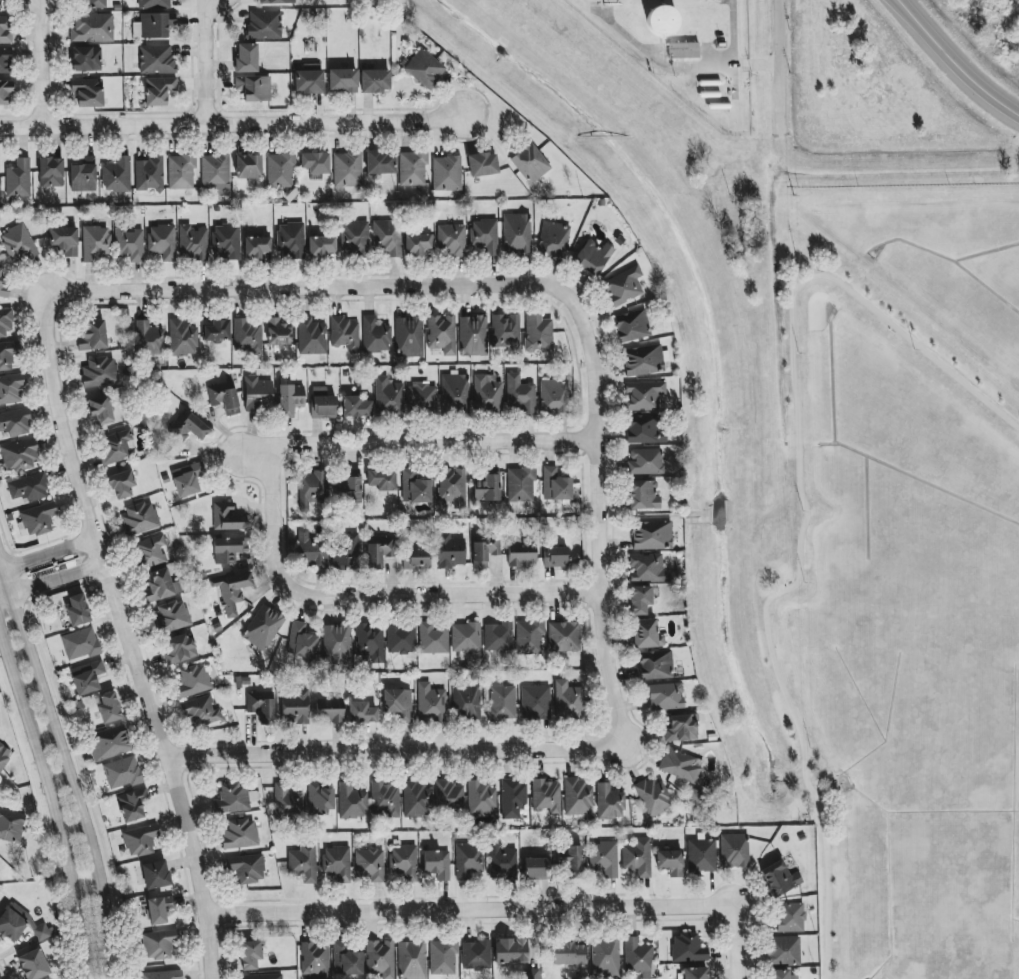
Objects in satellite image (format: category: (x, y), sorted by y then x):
building: (276, 2)
building: (92, 4)
building: (154, 4)
building: (662, 21)
building: (156, 25)
building: (264, 25)
building: (92, 28)
building: (5, 29)
building: (136, 30)
building: (683, 50)
road: (733, 55)
building: (246, 58)
building: (86, 59)
building: (156, 59)
building: (6, 60)
road: (205, 60)
road: (40, 62)
road: (952, 63)
building: (425, 69)
road: (779, 69)
building: (309, 79)
building: (343, 80)
building: (375, 81)
building: (254, 88)
building: (158, 90)
building: (5, 91)
building: (88, 92)
road: (231, 121)
building: (380, 162)
building: (530, 163)
building: (315, 164)
building: (482, 164)
building: (248, 166)
building: (412, 168)
building: (280, 170)
building: (347, 170)
building: (51, 172)
building: (181, 172)
building: (446, 173)
building: (83, 174)
building: (149, 174)
building: (215, 174)
building: (117, 175)
building: (18, 179)
building: (517, 233)
building: (484, 236)
building: (388, 237)
building: (354, 238)
building: (554, 239)
building: (64, 240)
building: (290, 240)
building: (451, 240)
building: (162, 241)
building: (226, 242)
building: (18, 243)
building: (96, 243)
building: (193, 243)
building: (129, 244)
building: (418, 244)
building: (321, 246)
building: (256, 247)
building: (592, 257)
building: (4, 286)
building: (624, 286)
road: (540, 288)
building: (5, 322)
building: (632, 326)
building: (216, 331)
building: (505, 332)
building: (279, 333)
building: (345, 334)
building: (442, 334)
building: (538, 334)
building: (92, 335)
building: (375, 335)
building: (473, 336)
building: (248, 337)
building: (311, 337)
building: (409, 337)
building: (148, 338)
building: (182, 338)
building: (7, 355)
building: (643, 360)
building: (100, 372)
building: (11, 389)
building: (455, 393)
building: (257, 394)
building: (486, 394)
building: (519, 394)
building: (388, 396)
building: (553, 396)
building: (643, 396)
building: (423, 397)
building: (224, 399)
building: (290, 399)
building: (322, 404)
building: (356, 407)
building: (100, 409)
building: (15, 422)
building: (190, 426)
building: (644, 429)
road: (418, 443)
building: (116, 446)
building: (20, 455)
building: (645, 462)
building: (187, 479)
building: (382, 479)
building: (122, 484)
building: (521, 485)
building: (556, 485)
building: (488, 487)
building: (29, 488)
building: (311, 488)
building: (349, 488)
building: (415, 488)
building: (451, 488)
building: (643, 495)
road: (804, 508)
building: (227, 517)
building: (140, 518)
building: (36, 520)
building: (651, 535)
road: (47, 549)
building: (228, 549)
building: (312, 549)
building: (346, 550)
building: (151, 551)
building: (379, 551)
building: (450, 551)
building: (484, 552)
building: (521, 555)
building: (555, 557)
building: (416, 559)
building: (647, 568)
road: (59, 580)
building: (161, 586)
road: (396, 588)
building: (232, 591)
road: (6, 593)
building: (641, 599)
building: (77, 610)
building: (172, 616)
building: (263, 628)
building: (646, 634)
road: (128, 635)
building: (498, 637)
building: (529, 637)
building: (563, 637)
building: (433, 638)
building: (465, 638)
building: (401, 639)
building: (301, 641)
building: (370, 642)
building: (80, 644)
building: (337, 644)
building: (179, 648)
building: (655, 665)
building: (87, 677)
building: (194, 681)
building: (665, 696)
building: (467, 701)
building: (502, 701)
building: (568, 701)
building: (536, 702)
building: (431, 703)
building: (398, 704)
building: (261, 706)
building: (295, 706)
building: (109, 708)
building: (328, 711)
building: (201, 712)
building: (362, 712)
building: (681, 728)
building: (108, 743)
road: (385, 744)
building: (4, 755)
building: (681, 765)
road: (67, 766)
building: (122, 772)
building: (449, 795)
building: (546, 796)
building: (577, 797)
building: (654, 797)
building: (234, 798)
building: (481, 798)
building: (512, 798)
building: (320, 799)
building: (416, 799)
road: (57, 800)
building: (287, 800)
building: (385, 800)
building: (351, 802)
building: (609, 803)
building: (132, 804)
building: (11, 825)
building: (239, 834)
building: (140, 840)
building: (734, 851)
building: (701, 855)
building: (638, 857)
building: (603, 858)
building: (468, 860)
building: (572, 860)
building: (403, 861)
building: (337, 862)
building: (670, 862)
building: (503, 863)
building: (303, 864)
building: (370, 864)
building: (437, 864)
building: (536, 868)
building: (247, 869)
building: (156, 874)
building: (139, 875)
building: (779, 878)
road: (637, 908)
building: (159, 909)
road: (359, 912)
building: (790, 917)
building: (12, 923)
building: (42, 932)
building: (160, 944)
building: (688, 948)
building: (511, 951)
building: (783, 951)
building: (250, 954)
building: (569, 954)
building: (476, 955)
building: (443, 957)
building: (380, 958)
building: (605, 958)
building: (637, 958)
building: (315, 960)
building: (346, 960)
building: (412, 960)
road: (736, 961)
building: (33, 965)
building: (696, 973)
building: (534, 974)
building: (778, 974)
building: (162, 975)
building: (263, 976)

